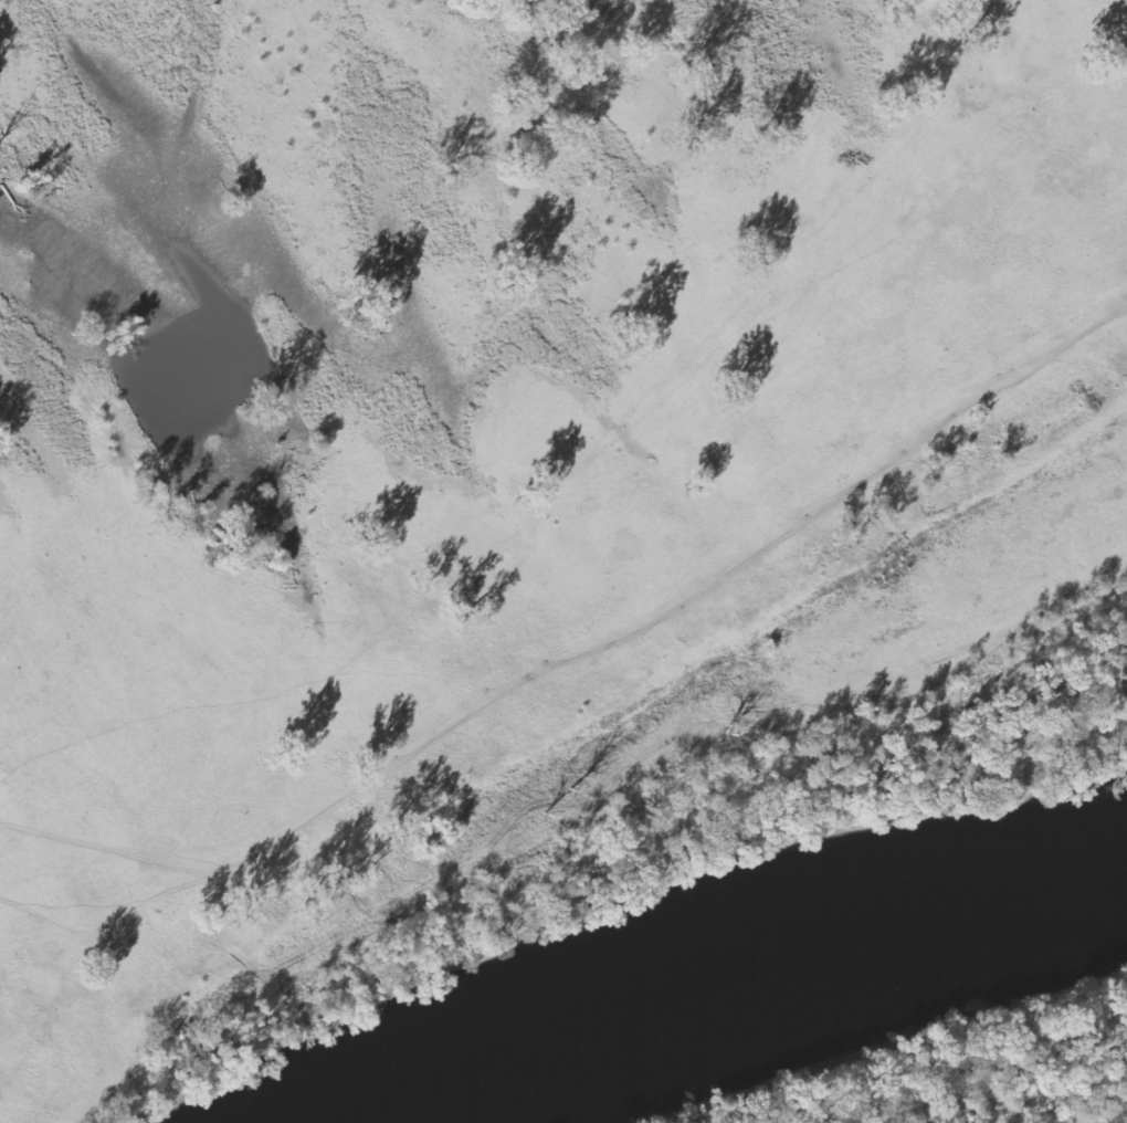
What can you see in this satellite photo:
river: (712, 993)

